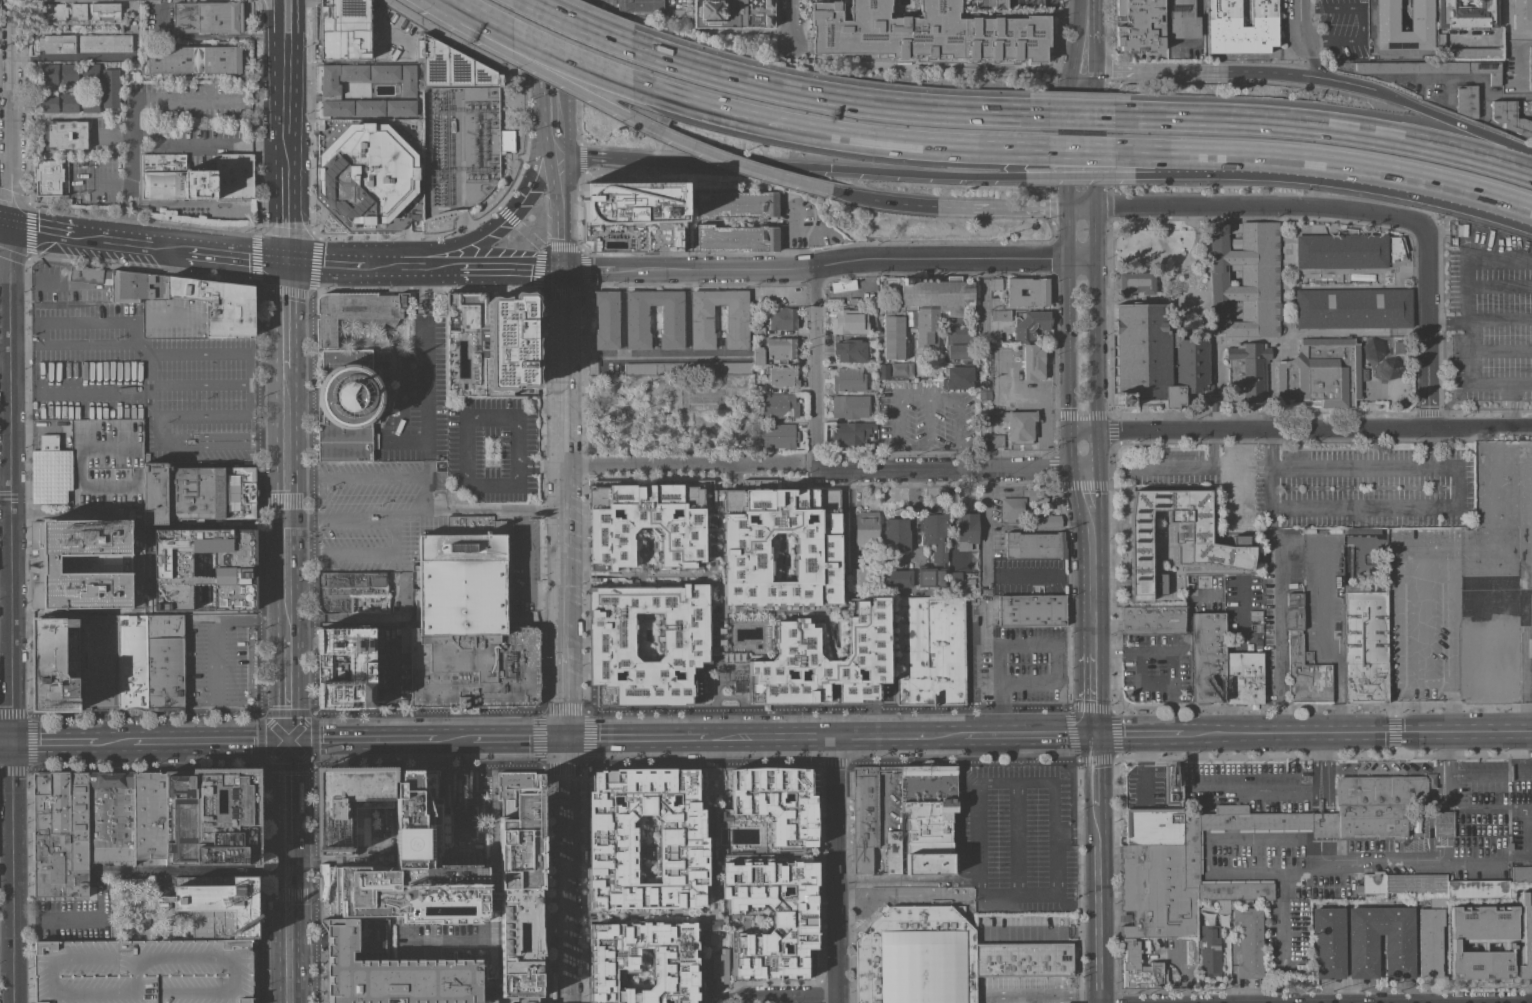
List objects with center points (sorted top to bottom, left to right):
road: (274, 2)
road: (276, 2)
building: (986, 4)
building: (641, 5)
building: (53, 11)
building: (79, 11)
building: (105, 11)
building: (733, 13)
building: (1467, 14)
building: (1522, 14)
building: (207, 17)
road: (295, 19)
road: (558, 19)
road: (1085, 19)
building: (1182, 19)
road: (1299, 20)
road: (1363, 20)
road: (276, 21)
road: (790, 21)
road: (579, 23)
building: (1138, 25)
building: (1387, 26)
building: (1240, 27)
road: (1507, 27)
parking lot: (1341, 28)
building: (345, 29)
building: (926, 31)
road: (1201, 33)
road: (210, 36)
building: (1441, 40)
building: (85, 43)
road: (537, 45)
building: (1474, 52)
road: (1091, 55)
road: (61, 57)
road: (1311, 58)
road: (1519, 58)
building: (195, 59)
road: (1078, 64)
building: (451, 66)
road: (559, 66)
building: (1430, 68)
building: (1530, 68)
road: (1133, 70)
building: (90, 71)
road: (1102, 71)
road: (1238, 71)
building: (384, 72)
building: (49, 73)
building: (68, 73)
road: (1472, 75)
building: (408, 79)
road: (1084, 80)
road: (1346, 83)
building: (339, 87)
building: (111, 88)
road: (137, 97)
road: (836, 98)
road: (285, 99)
building: (1467, 100)
building: (50, 102)
building: (70, 102)
building: (91, 103)
building: (1531, 105)
building: (369, 107)
building: (401, 107)
road: (622, 114)
road: (1080, 114)
building: (1510, 116)
road: (560, 124)
road: (1453, 124)
road: (1324, 127)
building: (64, 134)
road: (836, 135)
road: (1096, 139)
road: (207, 141)
power substation: (460, 148)
road: (1070, 148)
road: (1081, 151)
road: (4, 156)
road: (540, 158)
road: (629, 158)
road: (1305, 161)
road: (763, 164)
traffic signals: (830, 168)
building: (367, 173)
road: (938, 174)
road: (1081, 175)
building: (47, 177)
building: (197, 177)
road: (1304, 179)
road: (884, 200)
building: (736, 204)
road: (1513, 205)
road: (1264, 206)
road: (973, 207)
road: (1082, 207)
road: (1102, 207)
road: (1030, 208)
road: (1060, 208)
road: (284, 211)
road: (562, 211)
building: (633, 216)
road: (5, 222)
traffic signals: (10, 223)
road: (42, 228)
road: (531, 236)
building: (737, 238)
road: (790, 238)
road: (132, 240)
road: (1191, 247)
road: (442, 251)
road: (235, 252)
building: (1349, 253)
traffic signals: (283, 258)
road: (1082, 258)
road: (1530, 258)
road: (327, 261)
road: (840, 263)
road: (419, 266)
road: (515, 269)
traffic signals: (563, 269)
road: (588, 269)
building: (86, 274)
building: (1245, 279)
building: (996, 283)
road: (1499, 284)
road: (54, 285)
building: (1137, 285)
building: (138, 286)
road: (982, 290)
building: (1028, 291)
road: (285, 292)
building: (995, 302)
building: (219, 304)
building: (1354, 308)
road: (1466, 308)
building: (356, 311)
building: (924, 311)
road: (284, 313)
building: (1001, 314)
building: (606, 318)
building: (702, 318)
building: (783, 318)
road: (1499, 318)
building: (637, 319)
road: (1446, 319)
building: (850, 321)
building: (1031, 324)
road: (1426, 325)
building: (758, 329)
road: (1358, 331)
road: (1095, 337)
building: (511, 343)
building: (781, 348)
building: (1372, 348)
building: (850, 350)
building: (959, 350)
road: (1499, 350)
road: (229, 353)
building: (758, 354)
building: (1156, 357)
building: (1033, 361)
road: (7, 365)
road: (815, 366)
road: (424, 367)
road: (563, 367)
building: (870, 367)
building: (1385, 367)
building: (687, 368)
road: (14, 370)
building: (884, 371)
building: (1248, 371)
building: (1322, 372)
building: (783, 376)
building: (959, 376)
road: (1068, 376)
parking lot: (138, 377)
building: (849, 379)
road: (200, 382)
building: (758, 382)
road: (1521, 383)
road: (1510, 387)
road: (312, 388)
road: (1512, 392)
road: (1507, 393)
road: (150, 394)
road: (926, 397)
building: (1212, 399)
building: (349, 403)
road: (1505, 403)
road: (1515, 403)
building: (780, 406)
building: (850, 406)
road: (7, 411)
road: (200, 413)
road: (1509, 414)
road: (1510, 419)
road: (928, 420)
road: (1524, 423)
building: (1018, 424)
road: (1510, 424)
road: (1286, 428)
road: (466, 430)
building: (851, 432)
building: (778, 436)
building: (997, 440)
building: (49, 442)
road: (912, 443)
road: (1144, 445)
road: (1212, 446)
road: (1429, 447)
road: (1271, 448)
road: (541, 459)
road: (690, 463)
road: (1178, 463)
road: (956, 468)
road: (540, 470)
building: (51, 475)
road: (369, 478)
road: (298, 479)
parking lot: (1363, 487)
road: (1097, 488)
building: (199, 492)
building: (1036, 494)
road: (286, 500)
road: (264, 501)
road: (1457, 506)
building: (1012, 508)
road: (478, 509)
road: (63, 513)
road: (411, 514)
building: (1043, 520)
road: (1530, 520)
building: (645, 522)
road: (984, 522)
road: (1094, 524)
building: (866, 527)
building: (966, 530)
building: (896, 534)
road: (396, 536)
building: (1177, 536)
road: (1308, 539)
building: (744, 543)
building: (1035, 545)
building: (940, 547)
building: (81, 563)
building: (237, 568)
road: (1530, 570)
building: (858, 576)
building: (955, 577)
road: (1044, 577)
building: (898, 578)
building: (1203, 581)
building: (347, 588)
road: (7, 590)
road: (1092, 596)
road: (313, 598)
road: (565, 601)
building: (1031, 610)
building: (1294, 611)
building: (1153, 619)
road: (216, 621)
building: (468, 624)
road: (1526, 634)
road: (1028, 642)
building: (1366, 643)
building: (728, 648)
building: (930, 649)
road: (1451, 651)
road: (1173, 652)
building: (1207, 657)
building: (98, 662)
building: (166, 663)
building: (56, 664)
building: (132, 664)
parking lot: (1021, 665)
building: (345, 667)
building: (1306, 673)
building: (1243, 678)
road: (388, 682)
road: (287, 685)
building: (694, 685)
building: (739, 686)
road: (1093, 693)
road: (692, 711)
road: (12, 713)
road: (1524, 715)
road: (144, 716)
road: (1356, 733)
road: (1033, 734)
road: (1073, 734)
traffic signals: (1094, 734)
road: (1138, 734)
road: (771, 735)
road: (881, 735)
road: (949, 735)
road: (636, 736)
road: (521, 737)
traffic signals: (567, 737)
traffic signals: (288, 738)
road: (362, 738)
road: (456, 738)
road: (209, 739)
road: (54, 741)
road: (114, 741)
road: (6, 742)
traffic signals: (12, 742)
road: (972, 759)
road: (695, 763)
road: (131, 764)
road: (466, 766)
road: (1144, 766)
road: (1094, 769)
road: (1379, 772)
building: (1173, 781)
road: (1442, 788)
road: (1257, 791)
road: (1325, 791)
road: (288, 792)
road: (1316, 792)
building: (776, 801)
building: (347, 804)
road: (1507, 807)
building: (865, 814)
building: (149, 815)
building: (111, 816)
building: (213, 817)
building: (928, 818)
building: (79, 822)
road: (1442, 822)
building: (1444, 823)
road: (1314, 824)
road: (1325, 824)
road: (1018, 830)
road: (1077, 830)
road: (12, 831)
building: (646, 834)
parking lot: (1020, 836)
building: (54, 839)
helipad: (410, 843)
road: (483, 849)
building: (893, 852)
road: (1317, 852)
building: (1159, 855)
road: (1207, 859)
road: (1365, 859)
road: (1476, 859)
building: (410, 868)
road: (837, 869)
road: (567, 870)
building: (1521, 873)
road: (265, 883)
road: (312, 883)
building: (1434, 885)
road: (900, 894)
building: (520, 896)
road: (1059, 896)
road: (492, 900)
road: (1095, 903)
building: (222, 907)
road: (1282, 915)
building: (770, 917)
road: (59, 920)
road: (288, 925)
road: (553, 929)
building: (999, 929)
road: (519, 930)
road: (7, 931)
road: (480, 936)
building: (1431, 936)
building: (1491, 939)
road: (432, 941)
building: (1250, 942)
building: (1329, 942)
road: (480, 943)
road: (553, 944)
road: (519, 945)
building: (1210, 948)
building: (1191, 951)
building: (916, 956)
building: (1363, 957)
building: (1024, 959)
road: (14, 962)
building: (641, 962)
road: (1233, 963)
building: (1138, 966)
building: (721, 967)
building: (392, 970)
building: (143, 971)
parking lot: (143, 971)
building: (1070, 986)
building: (1011, 987)
building: (1031, 987)
building: (1051, 987)
road: (772, 996)
road: (1314, 1002)

